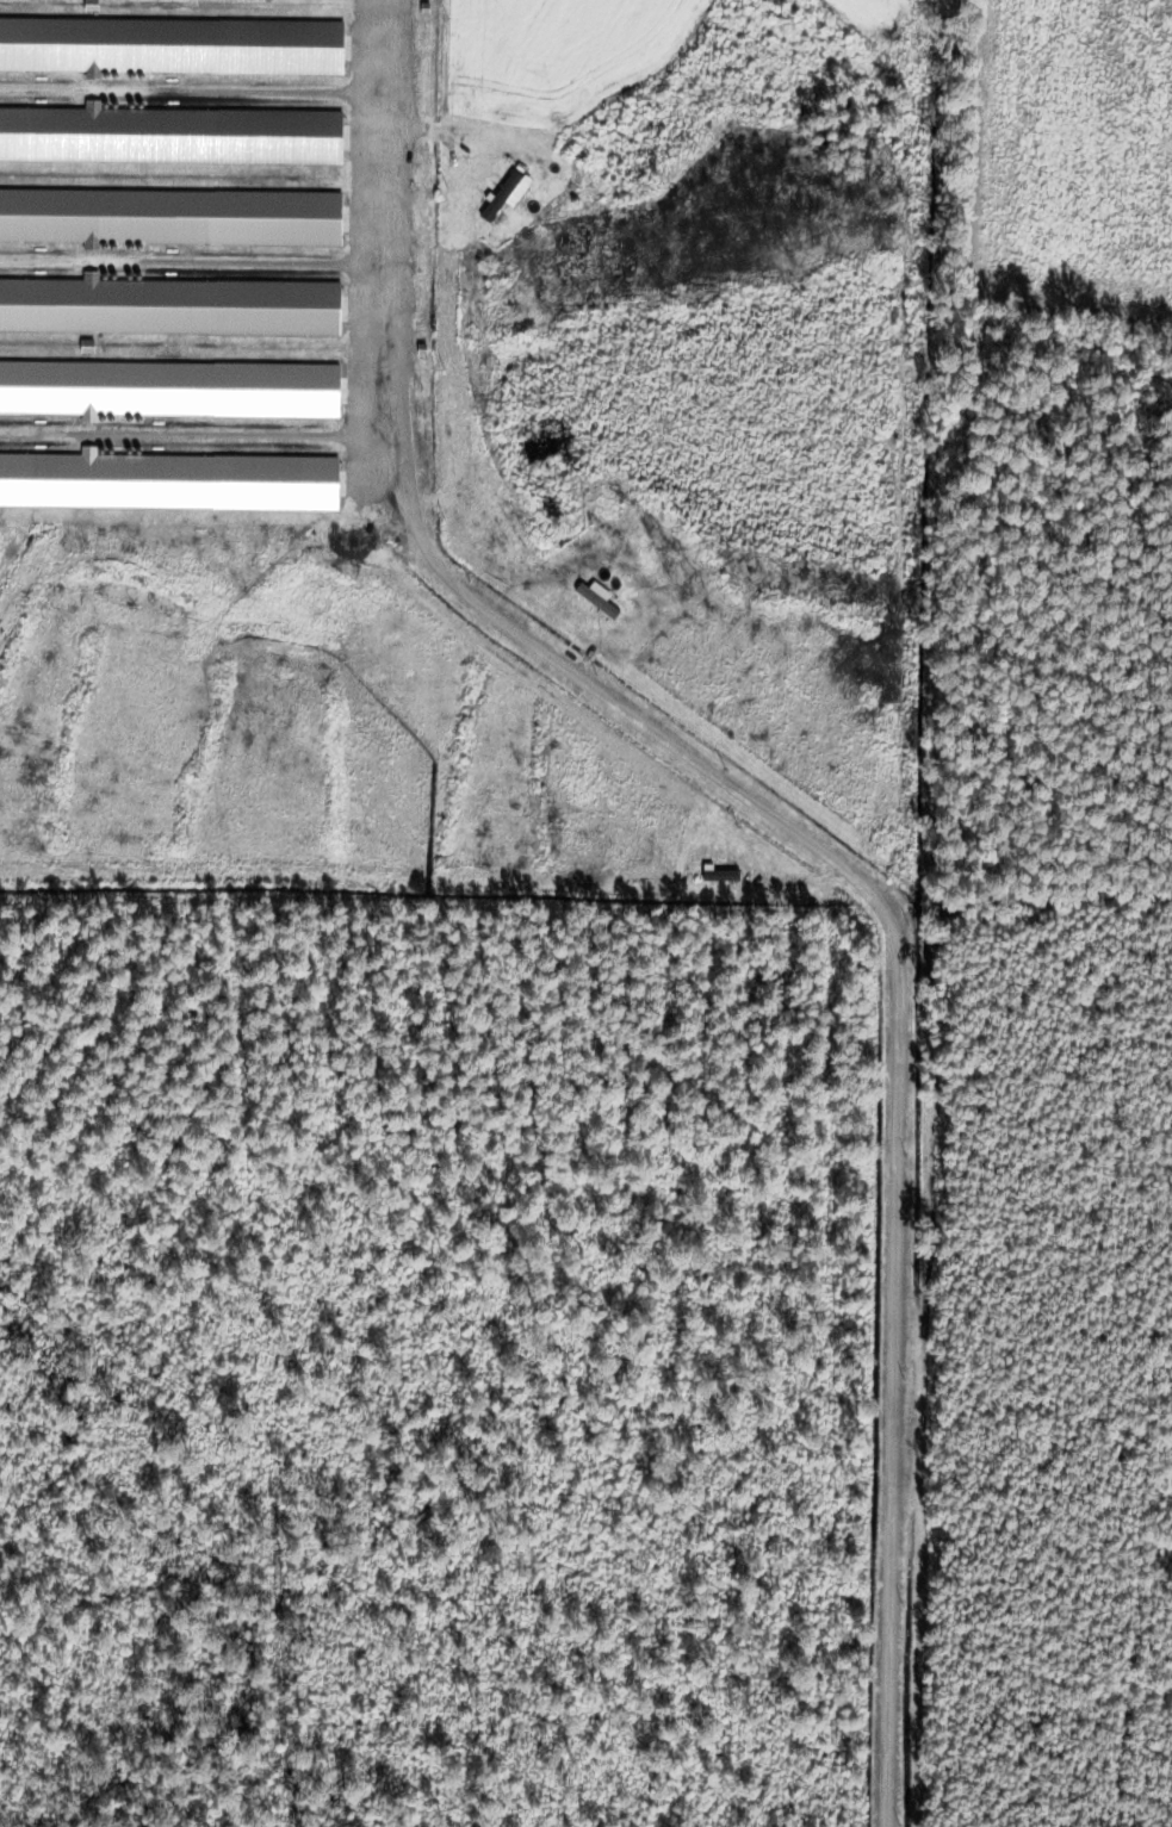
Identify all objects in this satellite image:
building: (172, 48)
road: (198, 89)
building: (170, 137)
building: (502, 197)
building: (170, 218)
road: (194, 266)
building: (169, 309)
road: (199, 430)
road: (802, 843)

